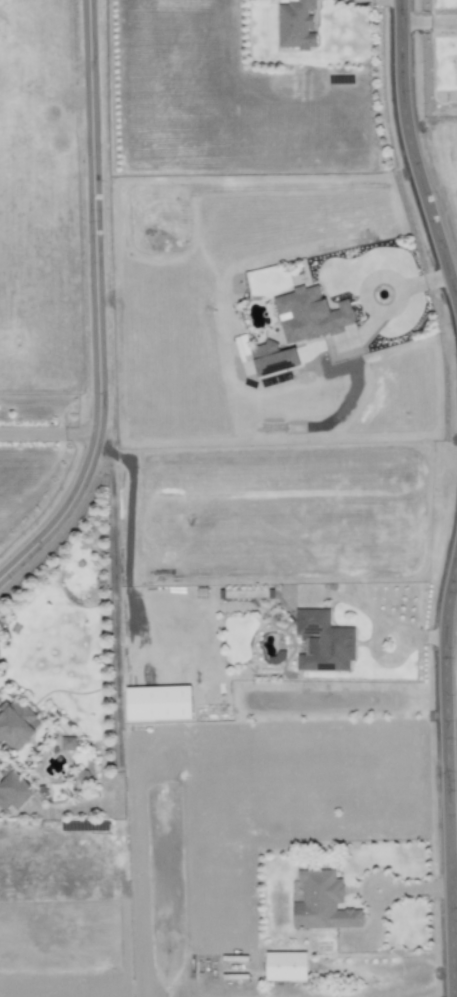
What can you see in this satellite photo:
building: (295, 25)
crop: (433, 113)
road: (412, 156)
road: (374, 277)
road: (94, 304)
building: (309, 314)
building: (272, 359)
road: (47, 435)
crop: (284, 520)
building: (323, 642)
building: (158, 703)
building: (16, 724)
building: (67, 743)
road: (446, 771)
building: (13, 789)
road: (452, 870)
road: (375, 881)
road: (417, 889)
building: (321, 902)
road: (369, 936)
building: (285, 966)

